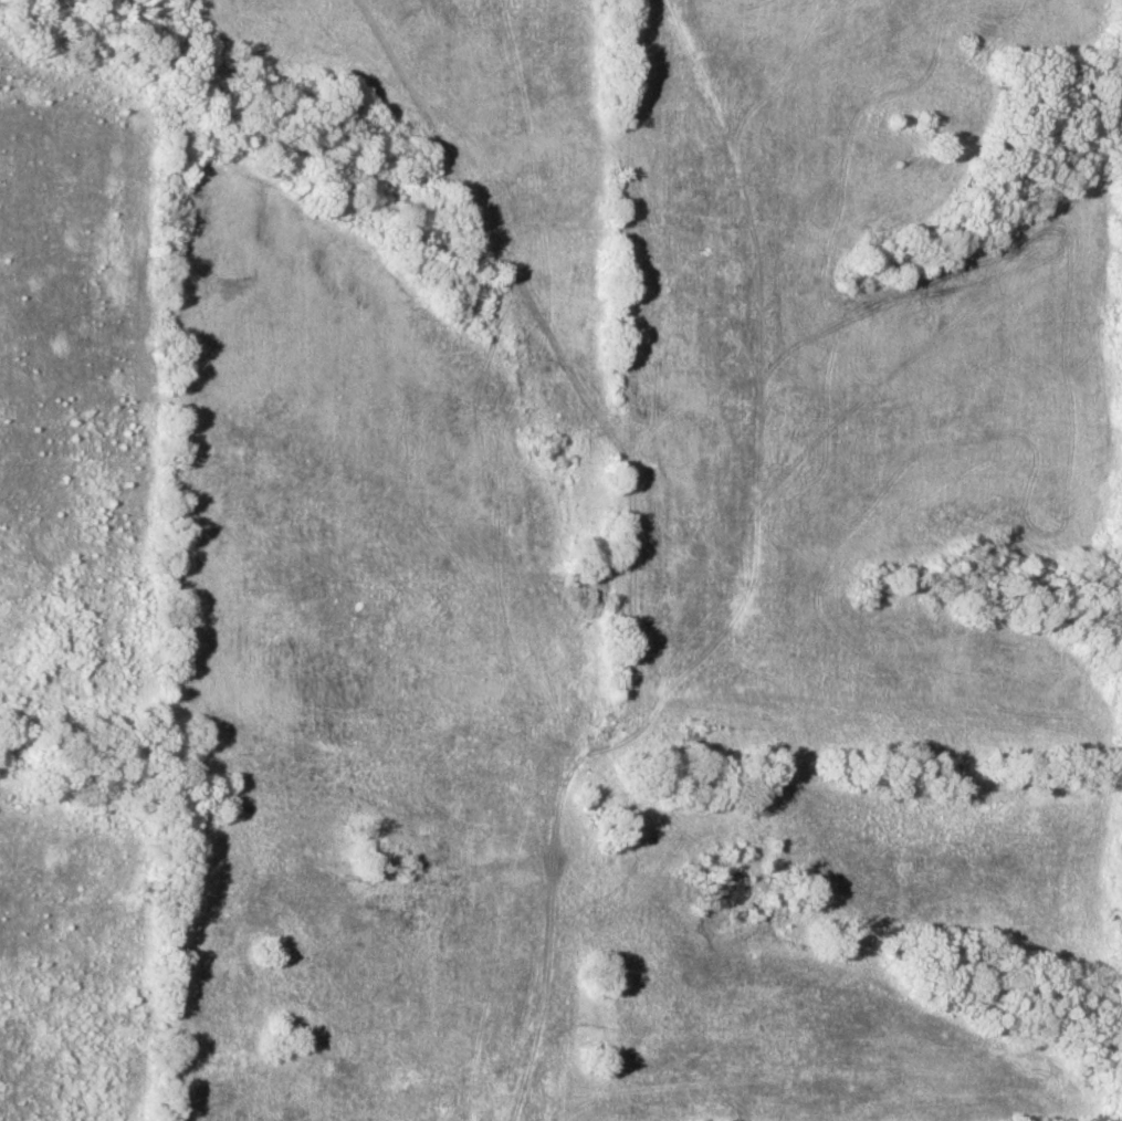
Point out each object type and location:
road: (752, 1015)

